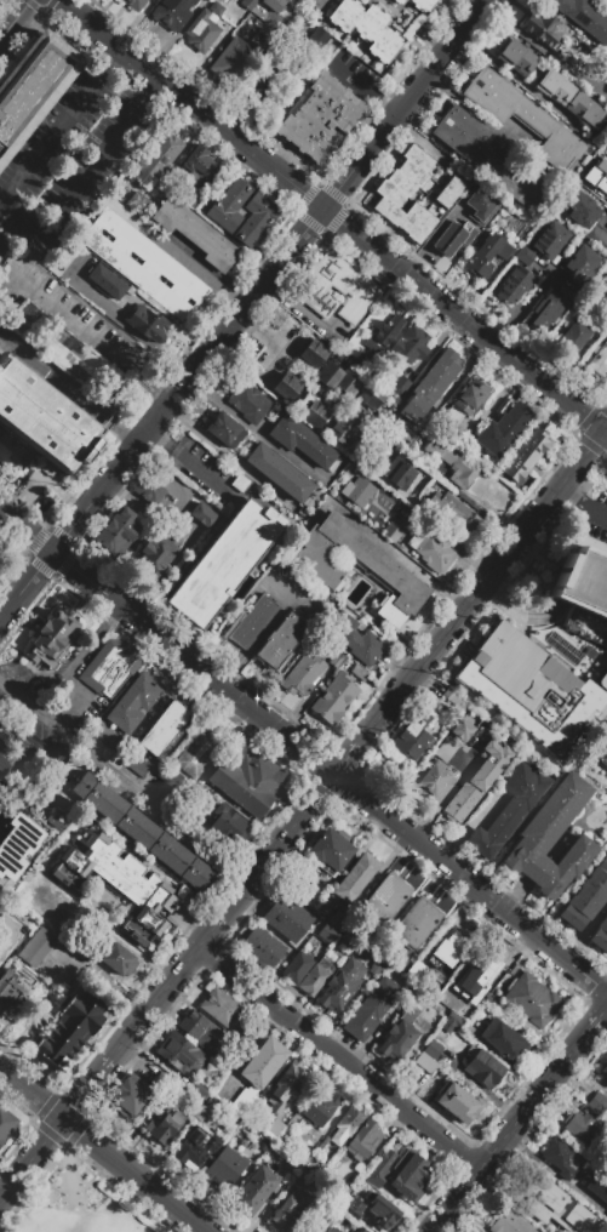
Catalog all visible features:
road: (483, 1)
building: (399, 2)
building: (134, 4)
building: (248, 4)
building: (274, 5)
building: (422, 5)
road: (69, 10)
building: (173, 12)
building: (584, 17)
road: (15, 19)
building: (205, 27)
building: (542, 27)
building: (367, 28)
building: (418, 32)
building: (317, 35)
parking lot: (422, 35)
road: (173, 38)
road: (433, 44)
building: (416, 45)
road: (545, 50)
building: (515, 56)
building: (233, 59)
road: (204, 63)
building: (552, 86)
building: (32, 87)
road: (522, 87)
building: (263, 89)
road: (233, 91)
road: (361, 91)
road: (74, 97)
building: (584, 110)
road: (476, 113)
building: (521, 115)
building: (321, 119)
road: (259, 125)
road: (418, 141)
parking lot: (288, 147)
building: (487, 156)
road: (280, 158)
parking lot: (76, 160)
building: (159, 160)
building: (196, 162)
building: (597, 175)
road: (84, 179)
road: (590, 189)
building: (448, 192)
building: (406, 194)
building: (189, 200)
building: (136, 201)
building: (480, 205)
building: (582, 207)
building: (240, 212)
road: (344, 226)
building: (195, 234)
road: (431, 236)
building: (451, 236)
building: (550, 240)
road: (599, 240)
building: (486, 255)
parking lot: (252, 256)
building: (526, 256)
building: (63, 261)
building: (141, 262)
road: (200, 262)
road: (263, 262)
building: (579, 263)
building: (105, 281)
building: (514, 285)
building: (337, 287)
road: (487, 291)
road: (521, 303)
road: (244, 308)
road: (299, 309)
building: (548, 309)
building: (145, 323)
road: (131, 332)
building: (575, 333)
building: (383, 335)
road: (80, 336)
road: (252, 341)
building: (274, 343)
building: (411, 344)
building: (313, 354)
road: (534, 354)
road: (572, 358)
building: (599, 360)
building: (372, 370)
building: (338, 380)
road: (454, 380)
parking lot: (150, 381)
road: (567, 381)
road: (263, 382)
road: (70, 386)
building: (288, 386)
building: (430, 386)
road: (160, 389)
building: (371, 395)
building: (247, 401)
building: (464, 403)
building: (315, 413)
building: (42, 417)
building: (349, 427)
building: (503, 428)
building: (224, 429)
road: (254, 429)
road: (606, 430)
building: (400, 433)
road: (606, 433)
building: (300, 440)
road: (223, 451)
building: (525, 455)
building: (451, 461)
road: (191, 463)
building: (399, 470)
building: (277, 472)
building: (240, 483)
building: (148, 490)
building: (359, 491)
road: (556, 496)
road: (172, 506)
road: (583, 506)
building: (454, 509)
building: (202, 515)
building: (118, 531)
building: (393, 531)
road: (199, 544)
building: (430, 549)
building: (1, 554)
building: (154, 555)
building: (223, 563)
building: (317, 565)
road: (491, 581)
building: (584, 589)
road: (520, 616)
building: (252, 622)
road: (520, 624)
building: (281, 639)
road: (259, 640)
building: (55, 643)
building: (362, 645)
road: (167, 649)
building: (336, 658)
building: (109, 667)
building: (359, 673)
building: (303, 674)
road: (419, 675)
building: (603, 680)
building: (528, 689)
building: (333, 697)
building: (132, 702)
building: (164, 728)
building: (463, 730)
building: (412, 736)
building: (108, 738)
building: (24, 742)
building: (600, 749)
building: (196, 751)
building: (445, 751)
building: (5, 759)
road: (349, 764)
building: (138, 768)
building: (250, 781)
building: (434, 781)
building: (476, 782)
road: (127, 785)
building: (508, 809)
building: (189, 816)
building: (225, 825)
building: (142, 832)
building: (552, 838)
road: (287, 845)
building: (16, 846)
building: (331, 849)
building: (355, 877)
building: (116, 882)
road: (471, 888)
building: (585, 896)
building: (384, 897)
building: (288, 918)
building: (416, 923)
building: (331, 926)
road: (221, 931)
building: (10, 934)
building: (600, 937)
building: (262, 947)
building: (36, 948)
building: (446, 953)
building: (371, 959)
building: (119, 960)
building: (297, 966)
building: (475, 970)
building: (315, 976)
building: (419, 977)
building: (340, 985)
building: (12, 994)
building: (531, 1000)
road: (159, 1005)
building: (218, 1006)
building: (371, 1009)
building: (466, 1009)
road: (260, 1017)
building: (451, 1021)
road: (597, 1021)
road: (326, 1028)
building: (71, 1029)
building: (201, 1031)
building: (399, 1036)
building: (246, 1037)
building: (503, 1039)
building: (434, 1049)
road: (347, 1050)
road: (247, 1051)
building: (181, 1055)
road: (340, 1061)
building: (263, 1062)
building: (425, 1062)
building: (482, 1066)
building: (605, 1068)
building: (606, 1080)
building: (164, 1084)
road: (405, 1086)
road: (88, 1088)
building: (286, 1088)
road: (32, 1093)
building: (177, 1093)
building: (130, 1096)
building: (244, 1100)
road: (533, 1100)
building: (456, 1102)
building: (597, 1103)
building: (205, 1108)
building: (316, 1110)
road: (337, 1113)
building: (348, 1123)
building: (5, 1124)
building: (164, 1128)
building: (583, 1128)
building: (363, 1140)
building: (196, 1148)
building: (262, 1150)
building: (561, 1157)
road: (32, 1159)
building: (310, 1164)
building: (224, 1168)
building: (380, 1168)
road: (134, 1175)
building: (300, 1175)
building: (411, 1175)
road: (552, 1175)
building: (599, 1185)
road: (465, 1186)
building: (256, 1190)
building: (342, 1197)
park: (82, 1202)
building: (556, 1205)
road: (408, 1207)
building: (288, 1209)
building: (359, 1209)
building: (389, 1216)
road: (440, 1217)
building: (509, 1222)
building: (356, 1230)
building: (319, 1231)

